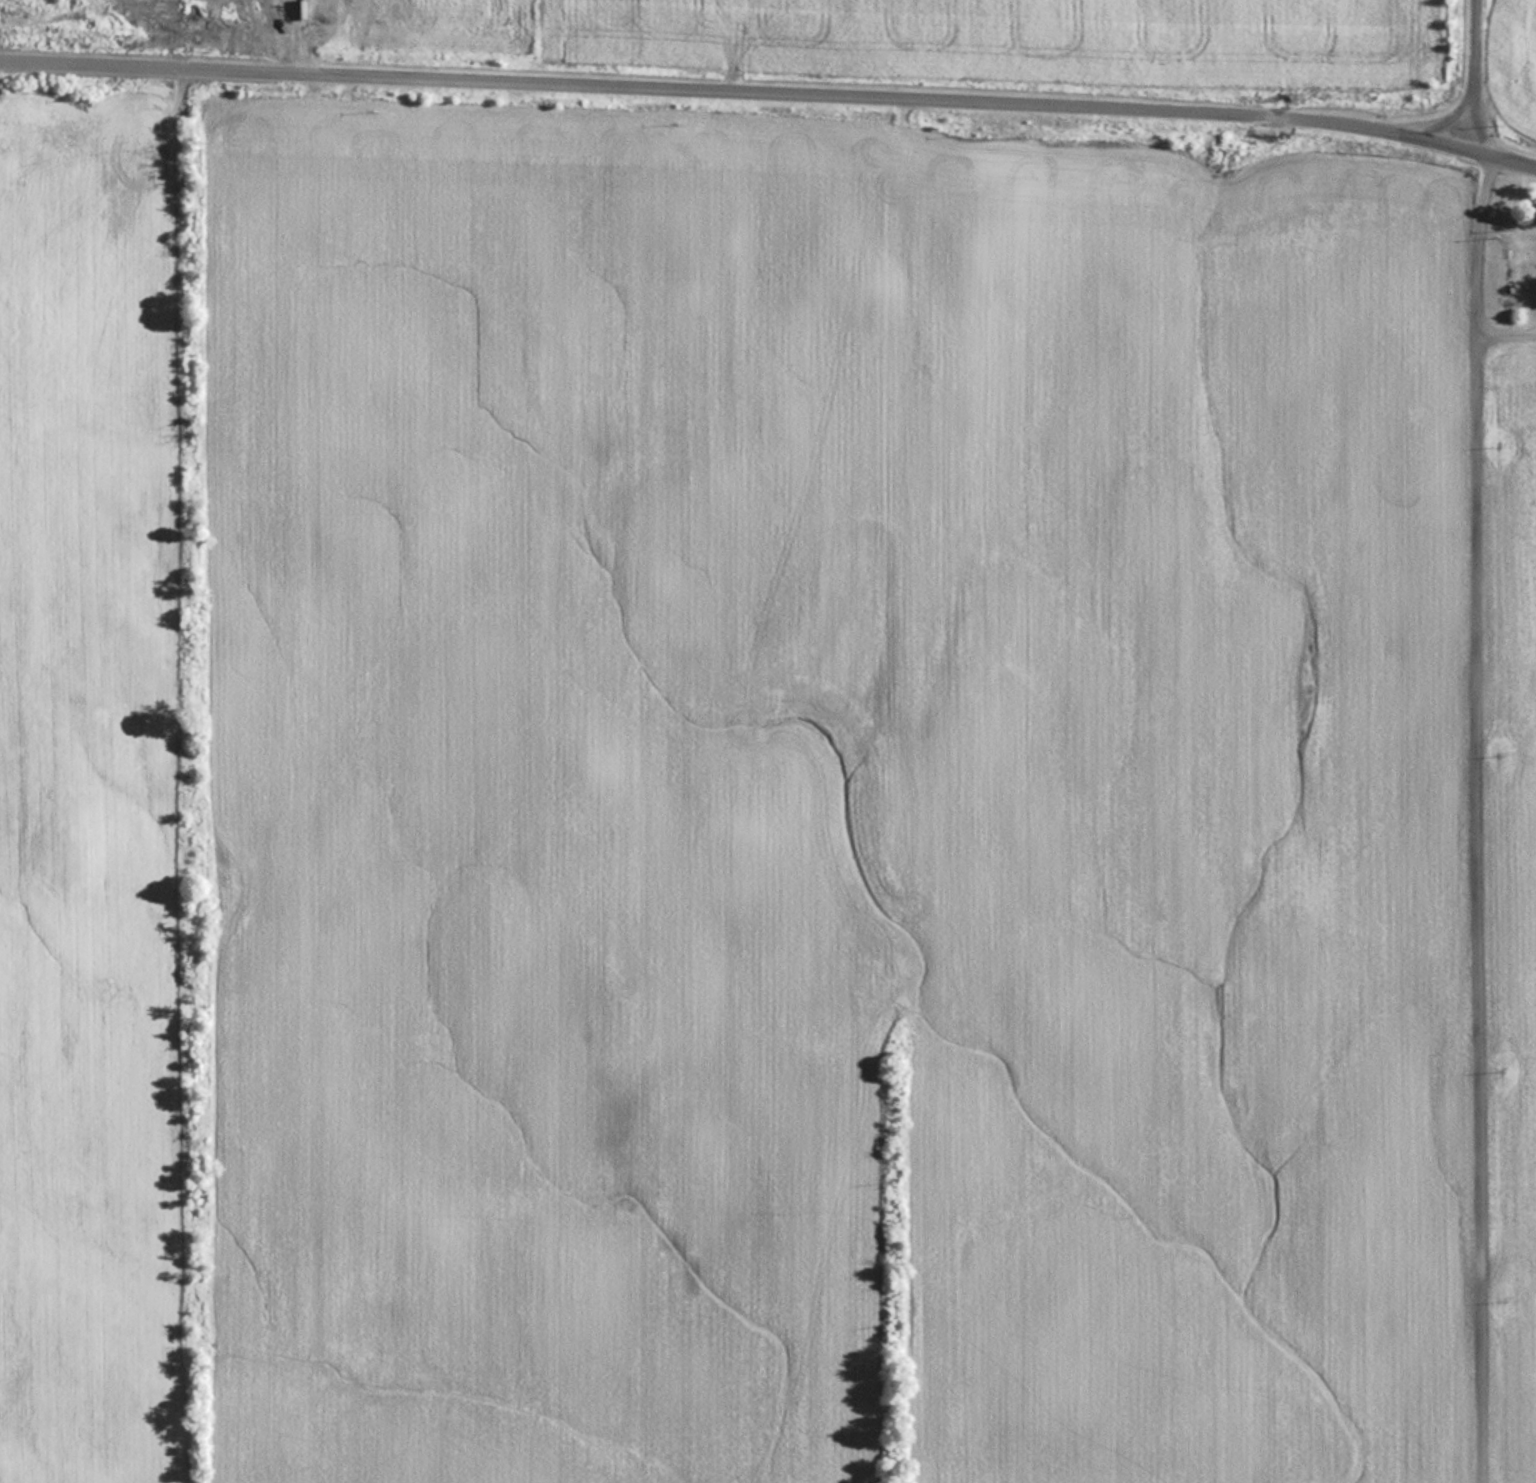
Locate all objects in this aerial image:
road: (1475, 77)
road: (733, 95)
road: (1499, 161)

